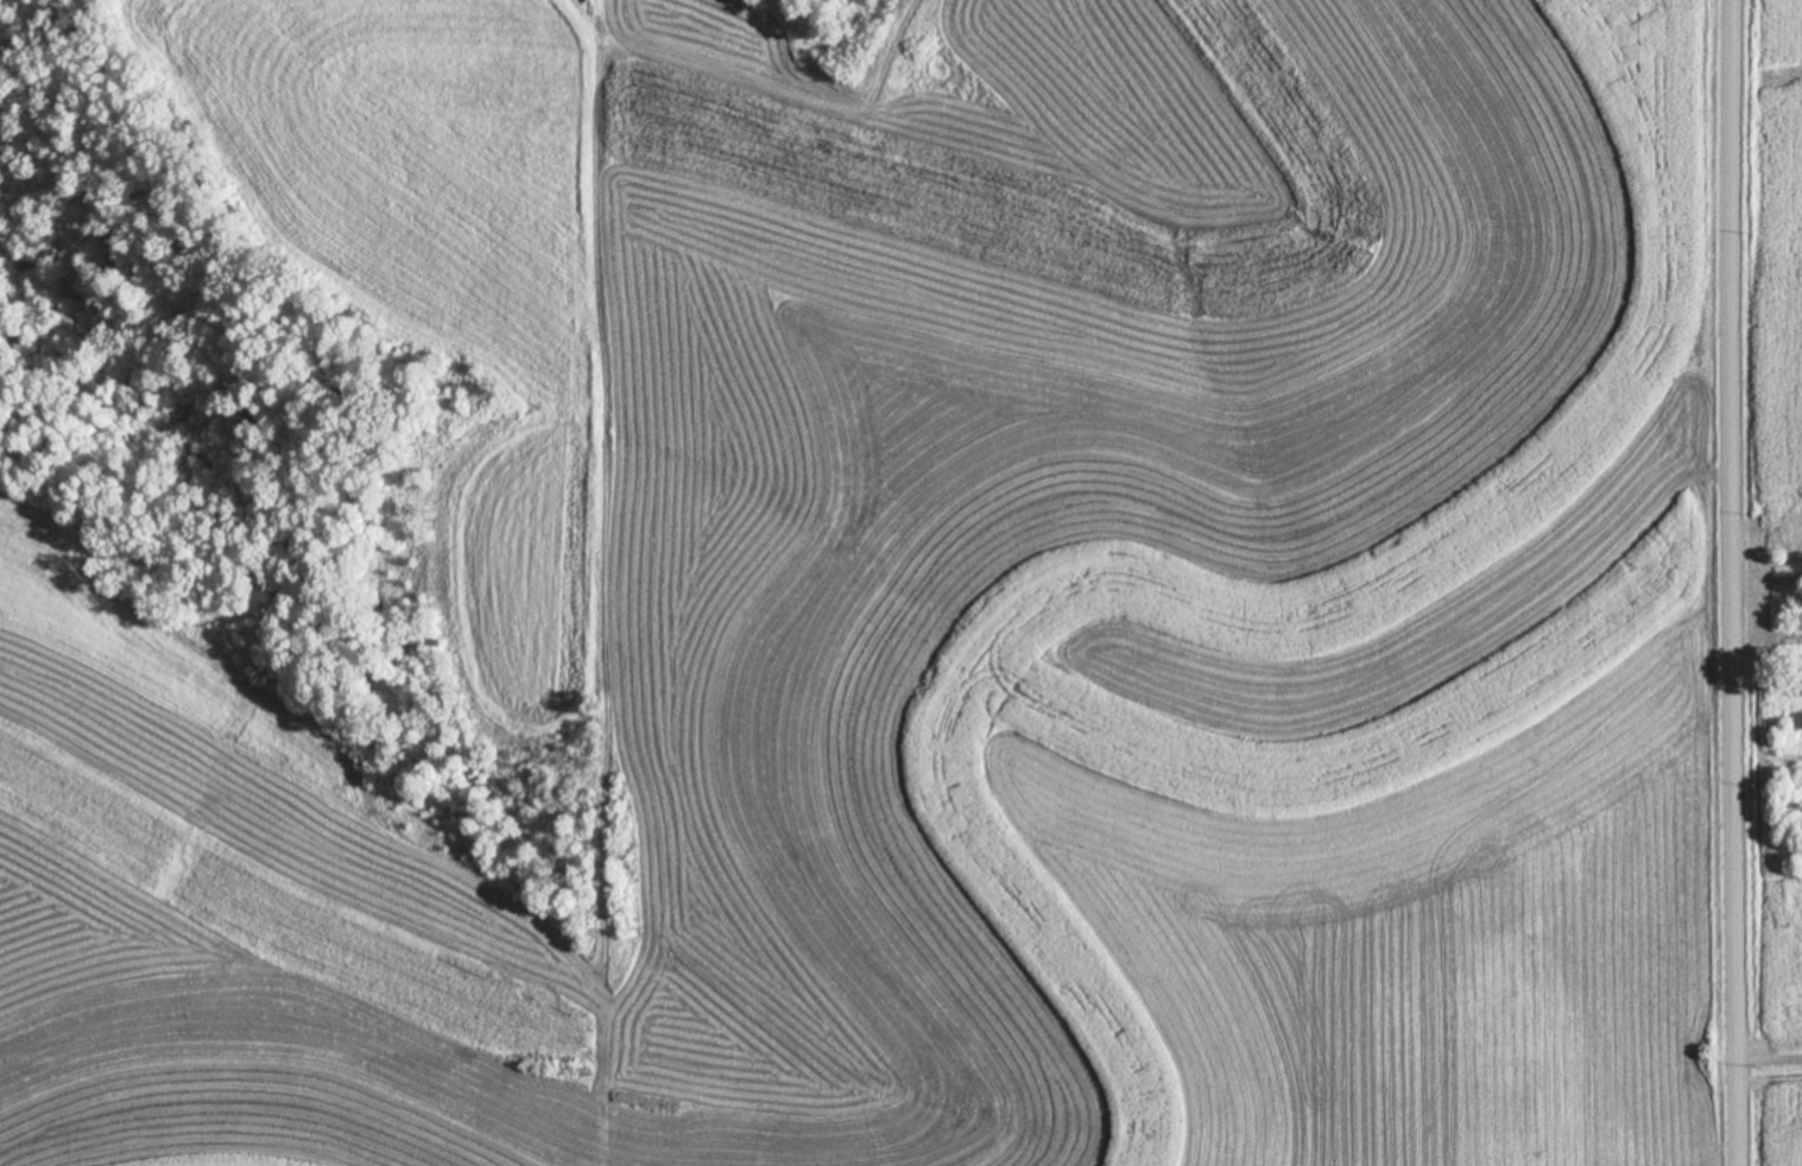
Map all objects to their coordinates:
road: (1737, 583)

